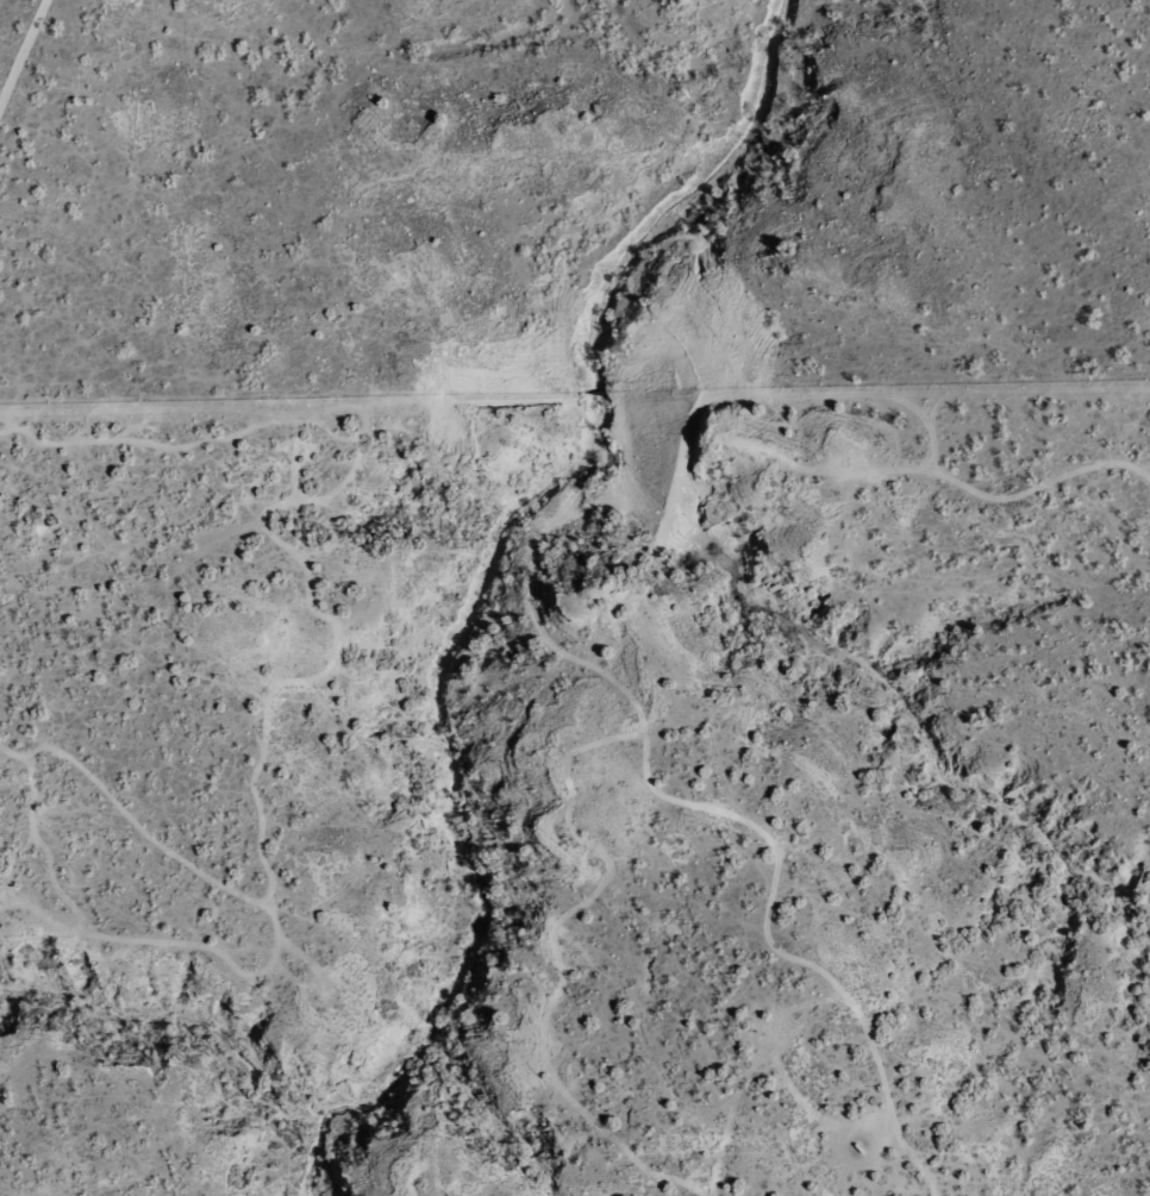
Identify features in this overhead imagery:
road: (23, 45)

